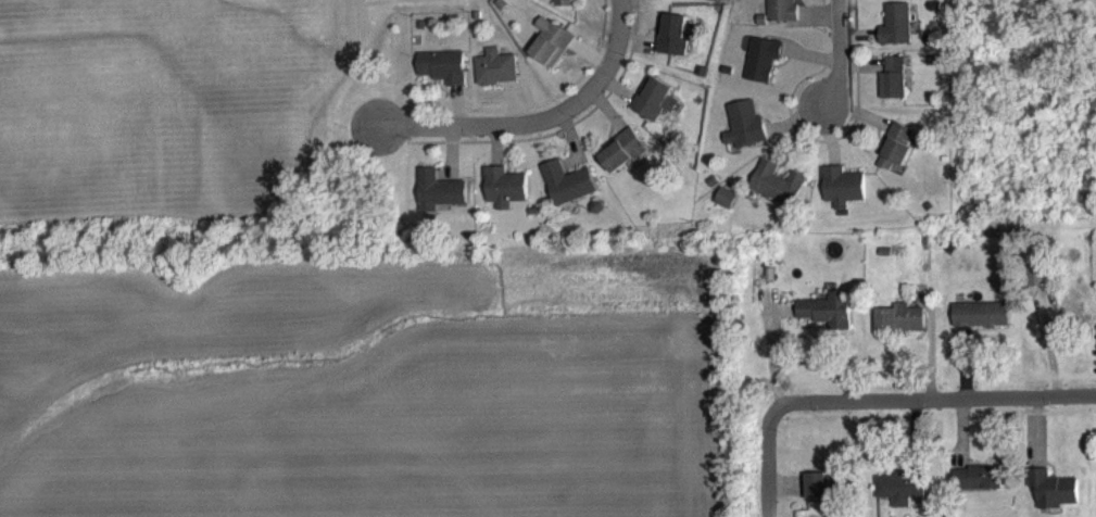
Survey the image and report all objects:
building: (890, 0)
building: (672, 3)
building: (564, 9)
building: (782, 16)
building: (897, 36)
building: (676, 46)
building: (551, 53)
road: (845, 54)
road: (615, 60)
building: (763, 71)
building: (443, 77)
building: (495, 79)
building: (894, 89)
building: (654, 111)
road: (483, 123)
building: (744, 136)
building: (897, 157)
building: (622, 162)
building: (568, 194)
building: (777, 194)
building: (505, 199)
building: (843, 199)
building: (440, 202)
building: (726, 210)
building: (1040, 286)
building: (828, 321)
building: (981, 326)
building: (899, 330)
road: (930, 402)
road: (765, 462)
building: (979, 490)
building: (824, 497)
building: (900, 497)
building: (1054, 500)

